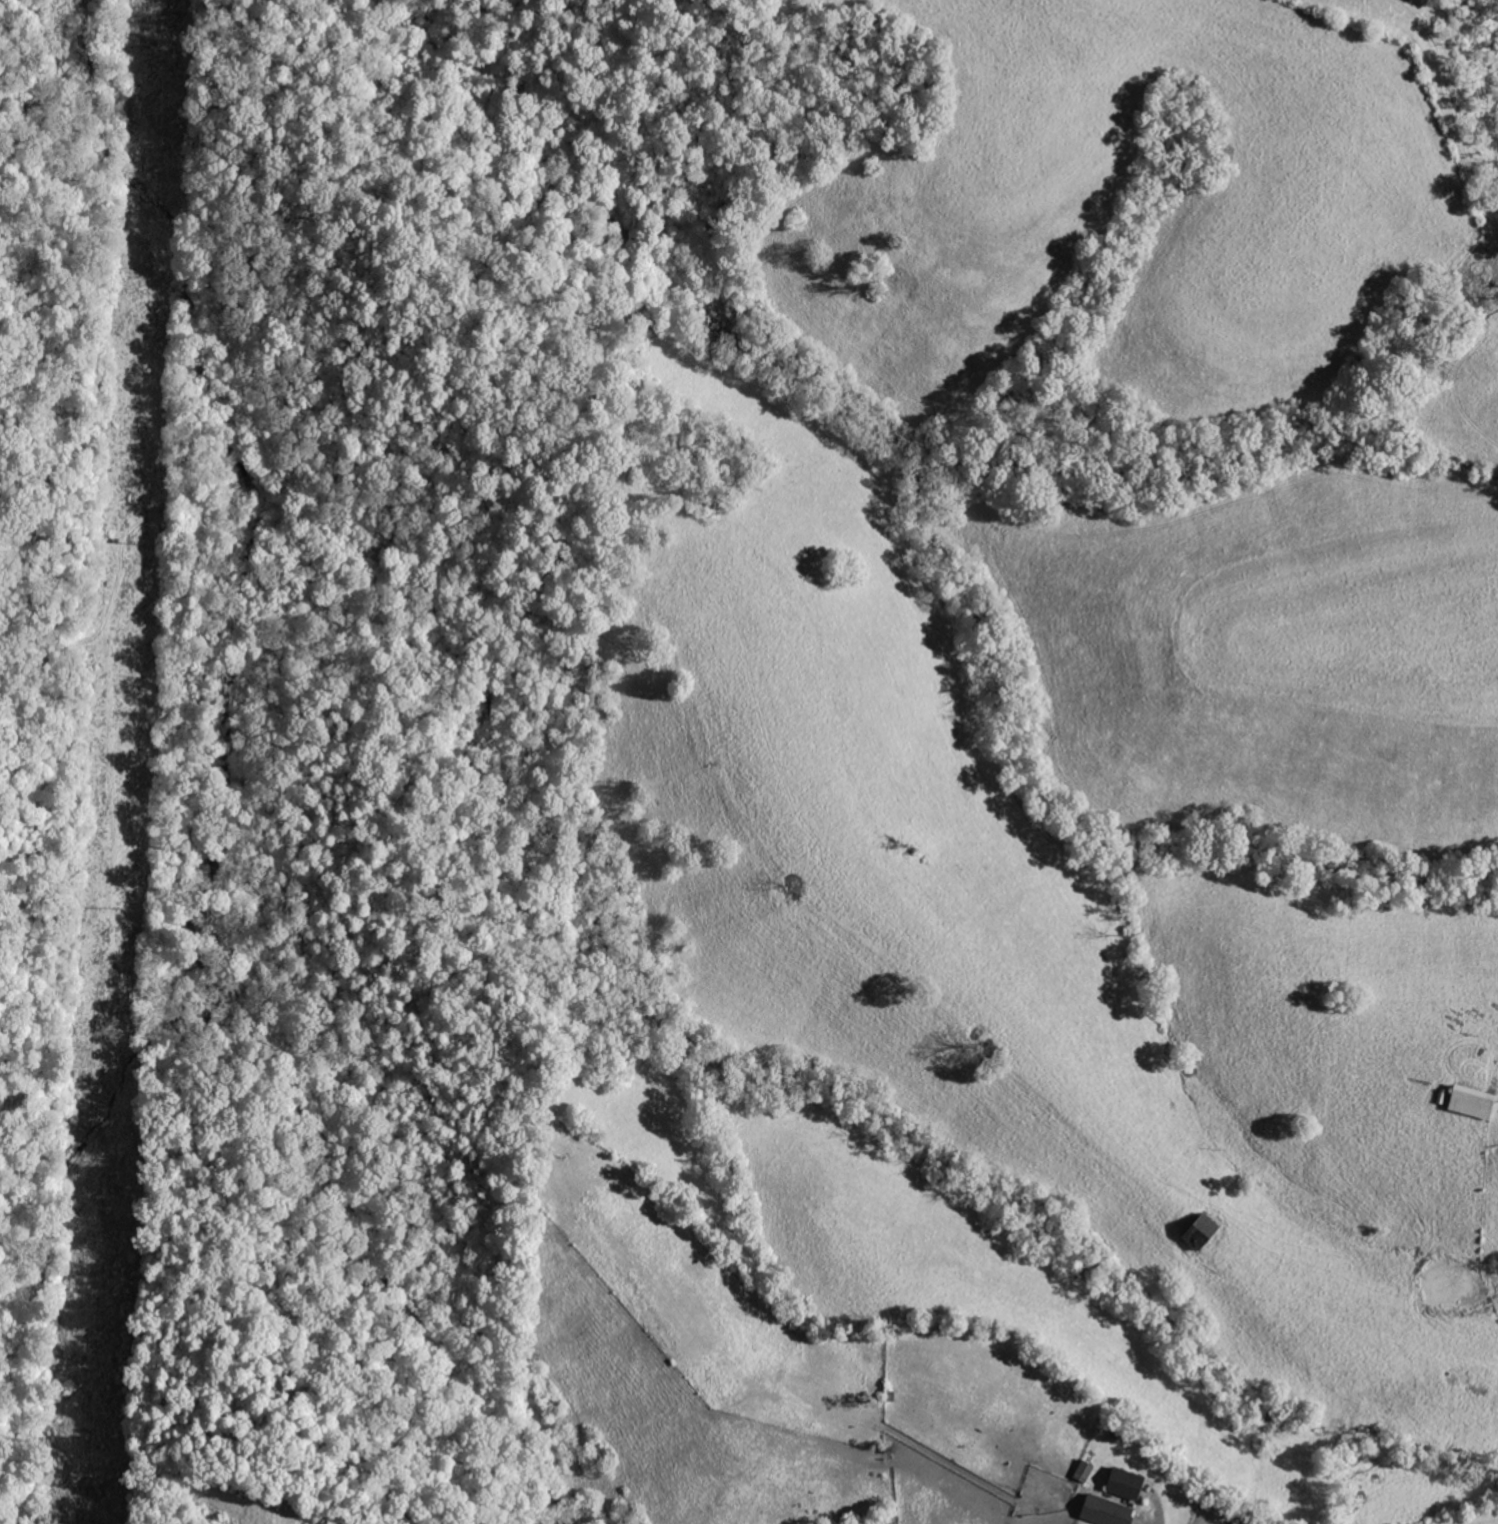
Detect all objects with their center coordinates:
building: (1469, 1101)
building: (1195, 1230)
building: (1122, 1483)
building: (1103, 1510)

